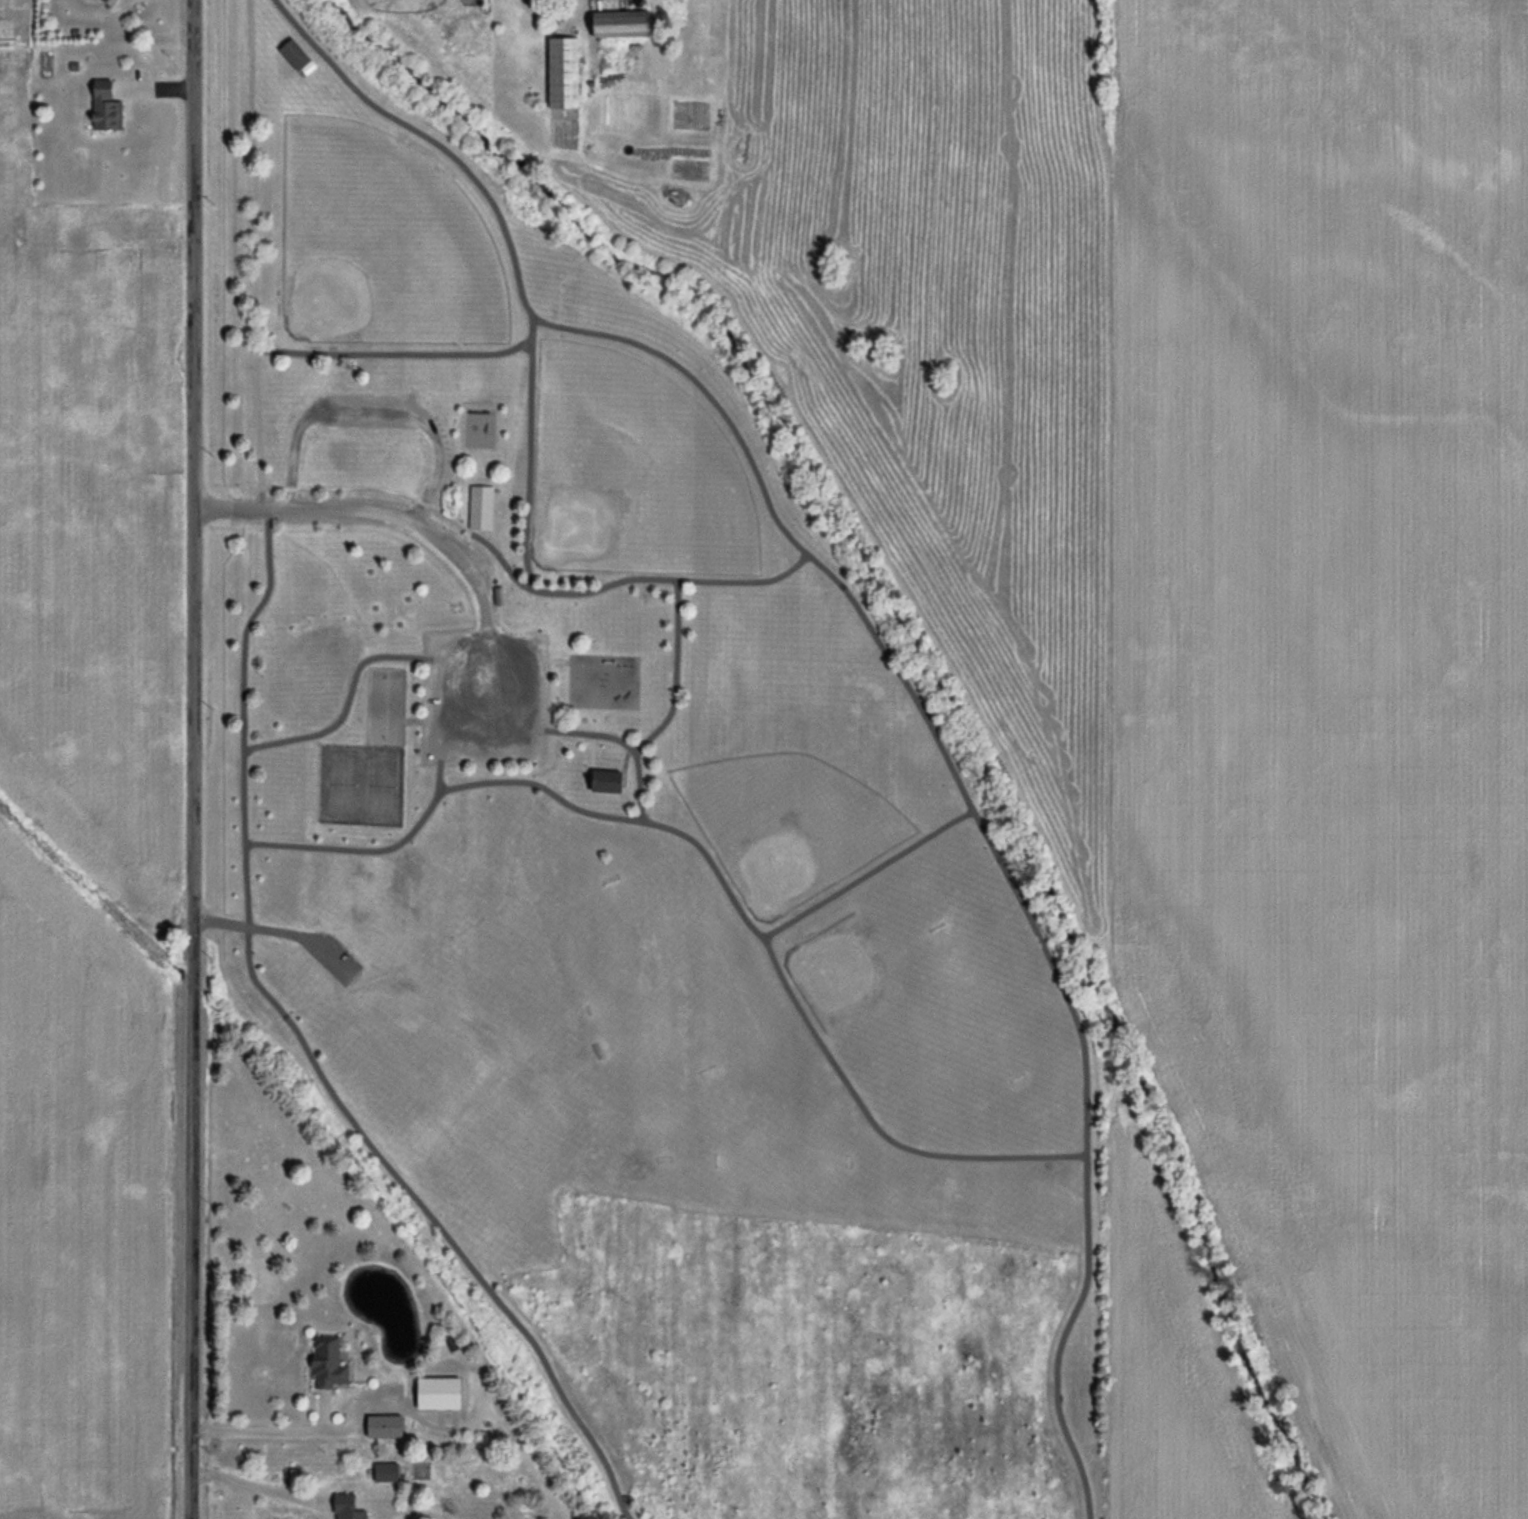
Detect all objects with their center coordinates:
building: (624, 24)
building: (295, 55)
building: (564, 73)
building: (107, 108)
building: (481, 508)
road: (364, 509)
road: (191, 759)
building: (608, 782)
park: (655, 881)
building: (328, 1364)
building: (385, 1427)
road: (297, 1430)
building: (387, 1473)
road: (254, 1487)

